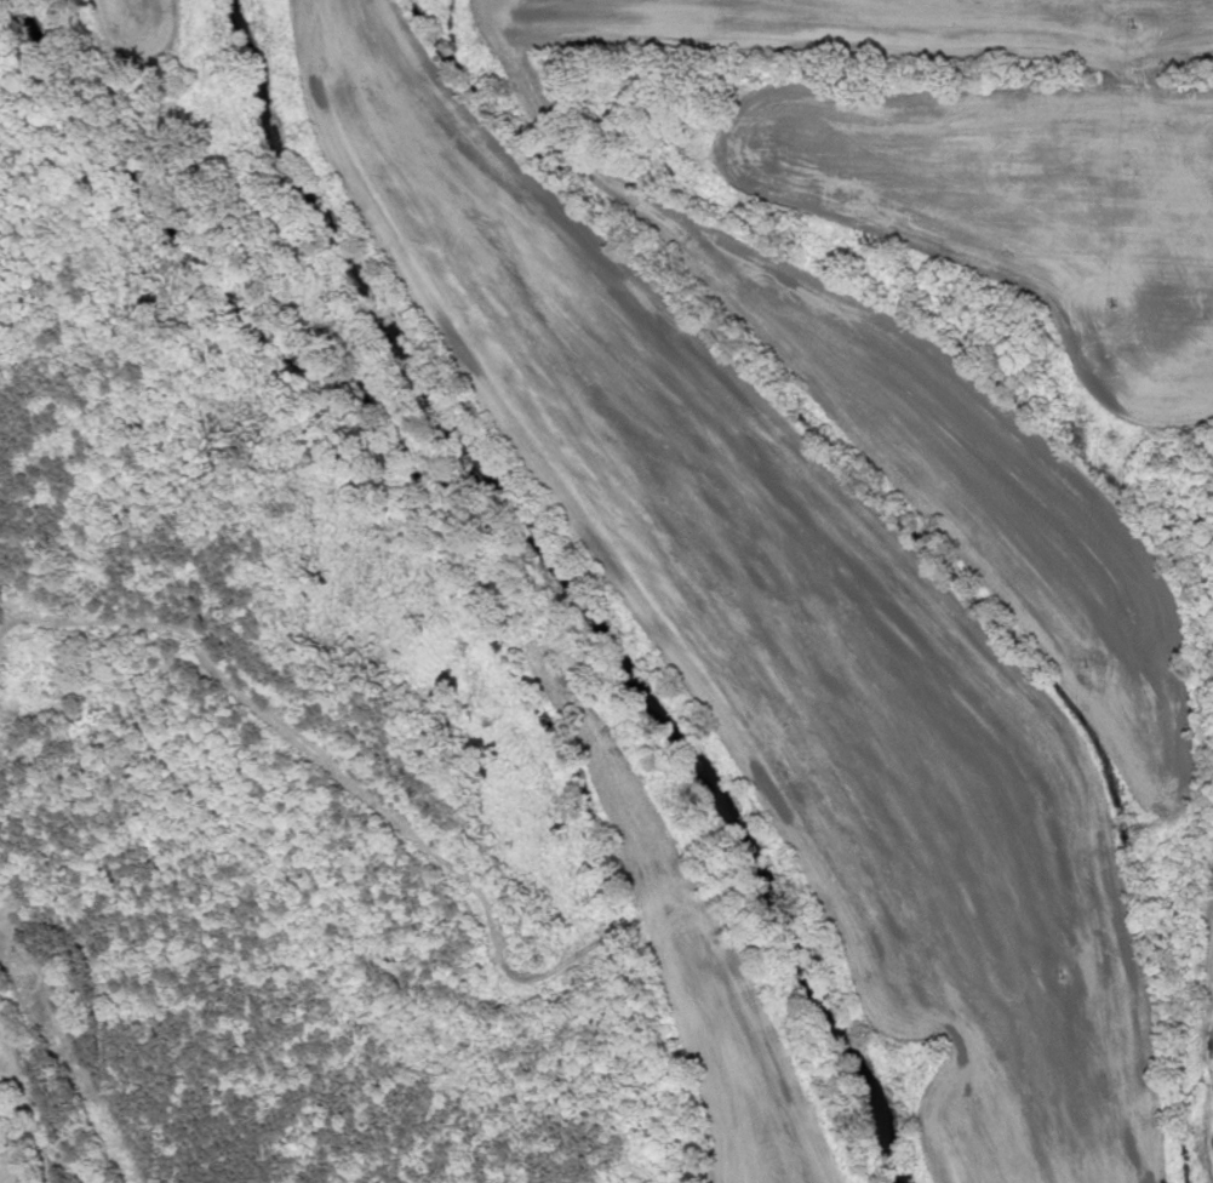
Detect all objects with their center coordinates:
road: (28, 1095)

